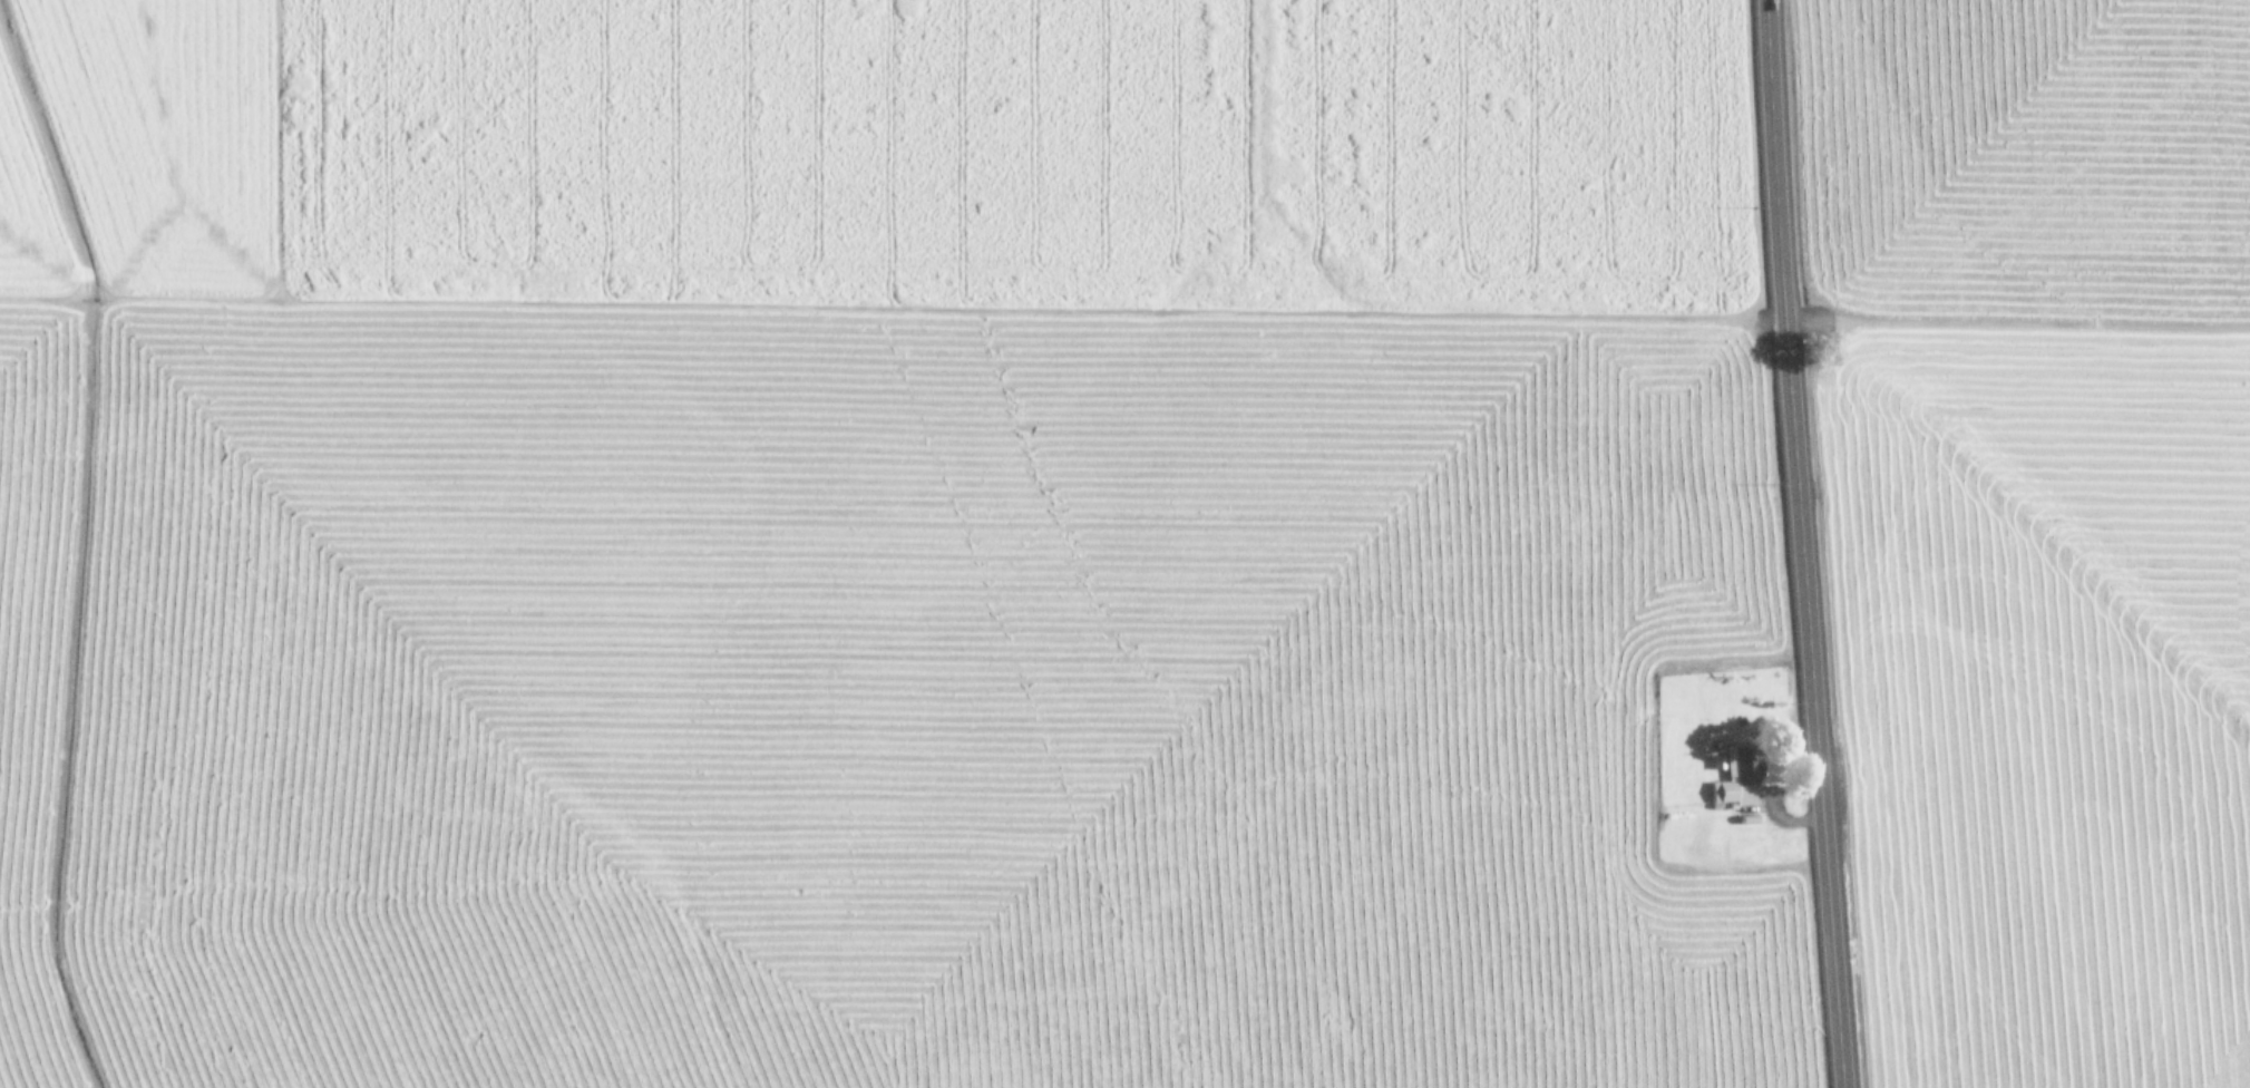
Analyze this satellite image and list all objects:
crop: (2038, 527)
road: (1794, 544)
crop: (884, 548)

